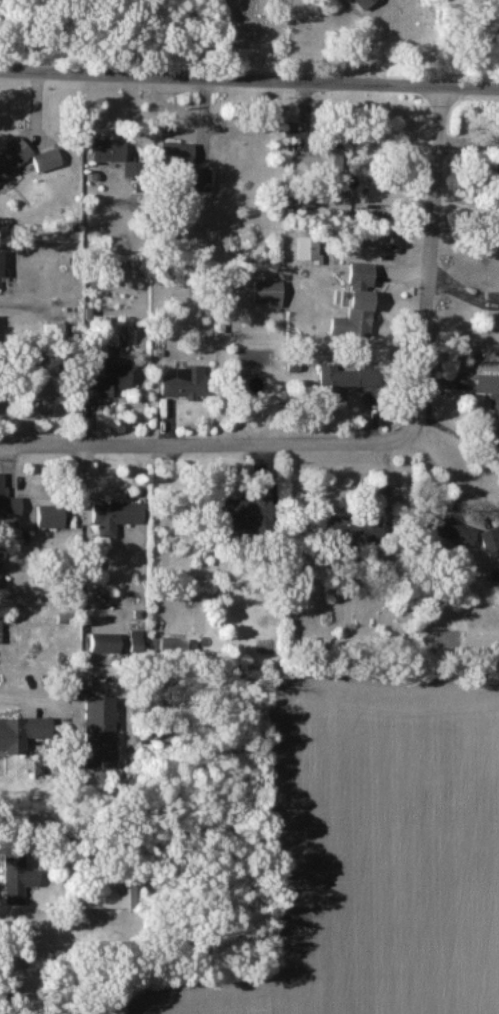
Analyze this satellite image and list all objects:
building: (366, 3)
road: (249, 80)
building: (30, 158)
building: (321, 166)
road: (436, 264)
building: (272, 292)
building: (360, 303)
building: (111, 379)
building: (330, 380)
building: (491, 387)
road: (210, 449)
building: (10, 501)
building: (119, 513)
building: (53, 515)
building: (355, 530)
building: (455, 531)
building: (491, 540)
building: (2, 570)
building: (3, 630)
building: (20, 880)
building: (102, 896)

